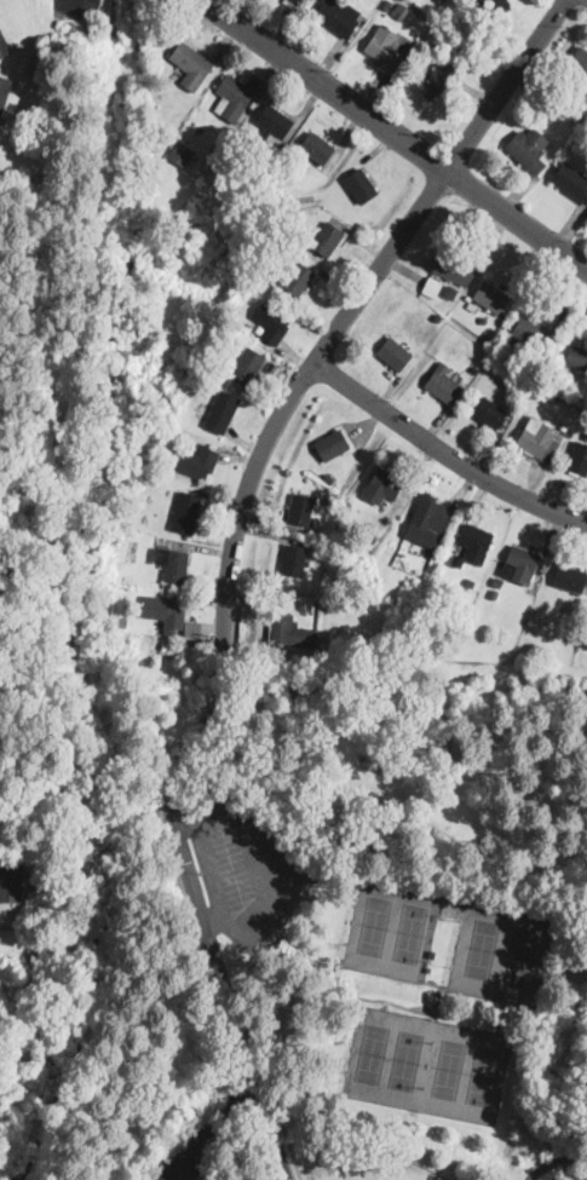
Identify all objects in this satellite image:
building: (441, 0)
building: (292, 2)
road: (574, 2)
building: (387, 5)
building: (495, 6)
road: (582, 8)
building: (399, 11)
building: (339, 16)
building: (409, 29)
building: (4, 46)
building: (390, 48)
building: (580, 61)
building: (191, 64)
building: (571, 77)
building: (438, 80)
building: (4, 92)
building: (568, 94)
building: (232, 97)
building: (276, 123)
road: (393, 132)
building: (155, 140)
building: (317, 148)
building: (529, 148)
building: (217, 151)
building: (182, 154)
building: (208, 163)
building: (572, 182)
building: (280, 183)
building: (361, 185)
building: (207, 194)
building: (283, 240)
building: (328, 240)
building: (456, 266)
building: (298, 278)
building: (259, 286)
building: (432, 286)
building: (449, 293)
building: (467, 298)
building: (494, 298)
road: (357, 304)
building: (472, 307)
building: (437, 316)
building: (272, 322)
building: (529, 333)
building: (242, 336)
building: (169, 347)
building: (395, 353)
building: (577, 357)
building: (248, 365)
building: (473, 369)
building: (552, 370)
building: (468, 375)
building: (443, 382)
building: (206, 392)
building: (518, 398)
building: (221, 411)
building: (489, 413)
building: (564, 426)
building: (539, 439)
building: (333, 445)
building: (197, 447)
road: (448, 453)
building: (579, 459)
building: (198, 462)
building: (328, 465)
building: (328, 477)
building: (384, 485)
building: (300, 510)
building: (186, 512)
building: (428, 522)
building: (372, 537)
building: (476, 541)
building: (165, 542)
building: (294, 560)
building: (173, 564)
building: (522, 564)
building: (127, 579)
building: (570, 579)
building: (499, 582)
building: (471, 583)
building: (494, 592)
building: (121, 595)
building: (167, 611)
building: (120, 621)
building: (192, 627)
building: (288, 631)
building: (355, 837)
building: (11, 875)
road: (198, 917)
park: (328, 923)
park: (372, 923)
park: (410, 931)
park: (477, 945)
park: (522, 955)
park: (372, 1052)
building: (122, 1053)
park: (408, 1059)
park: (445, 1067)
park: (484, 1075)
road: (274, 1122)
park: (374, 1168)

